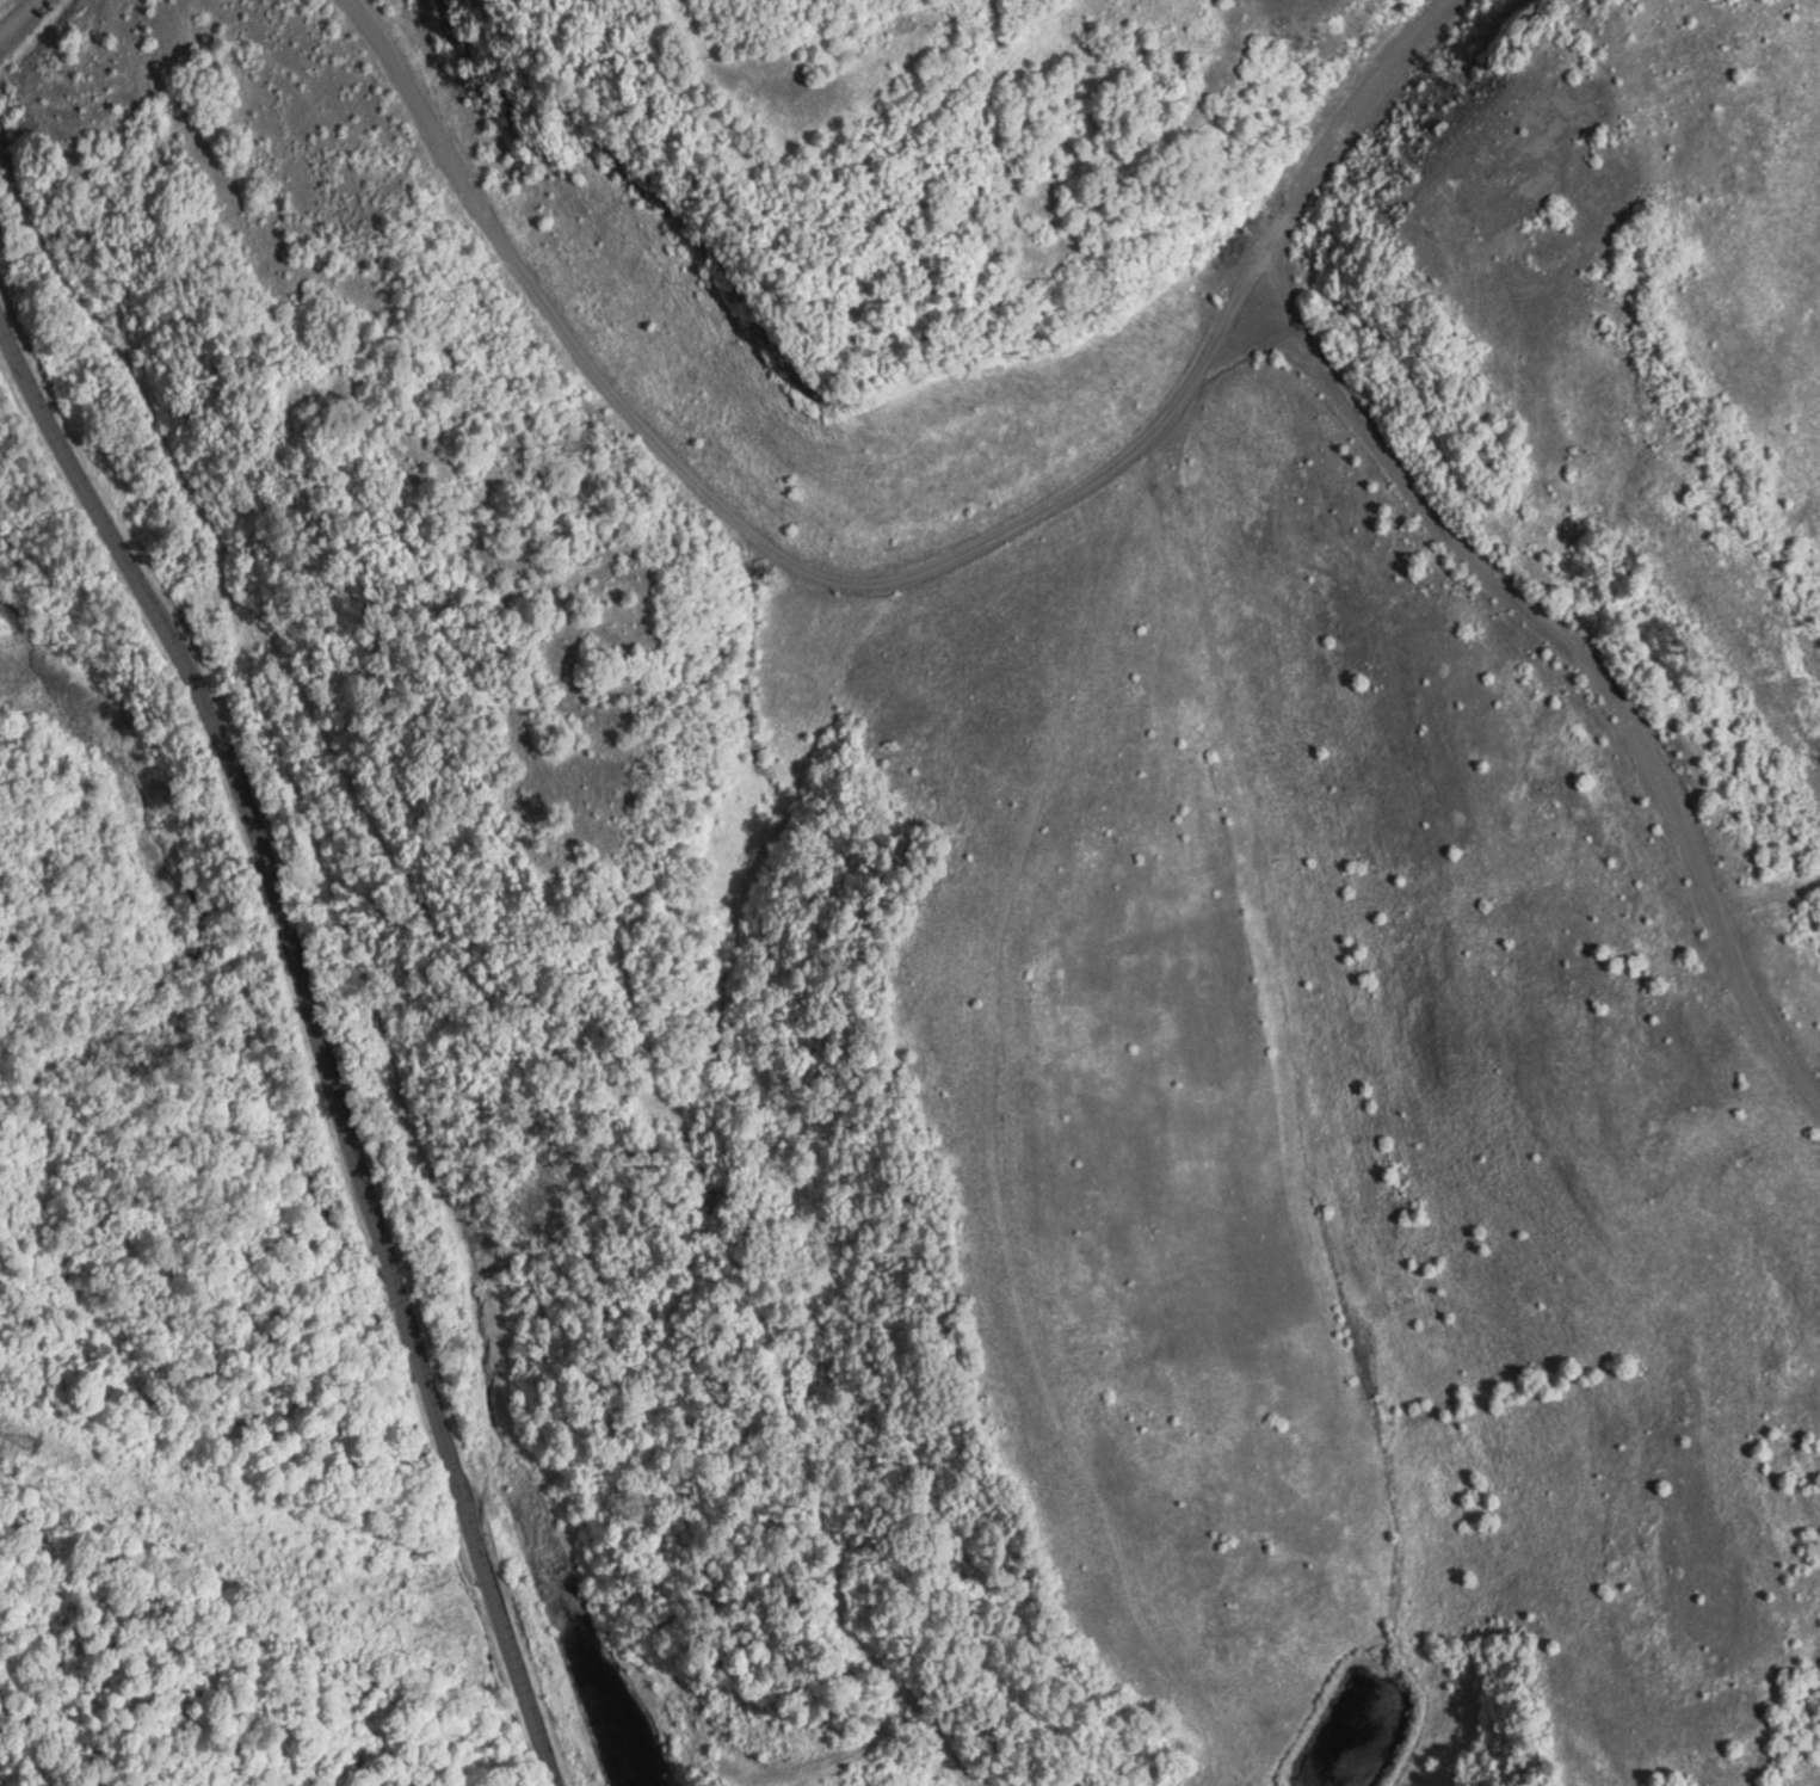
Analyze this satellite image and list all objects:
building: (1378, 55)
road: (320, 1031)
power tower: (33, 1435)

